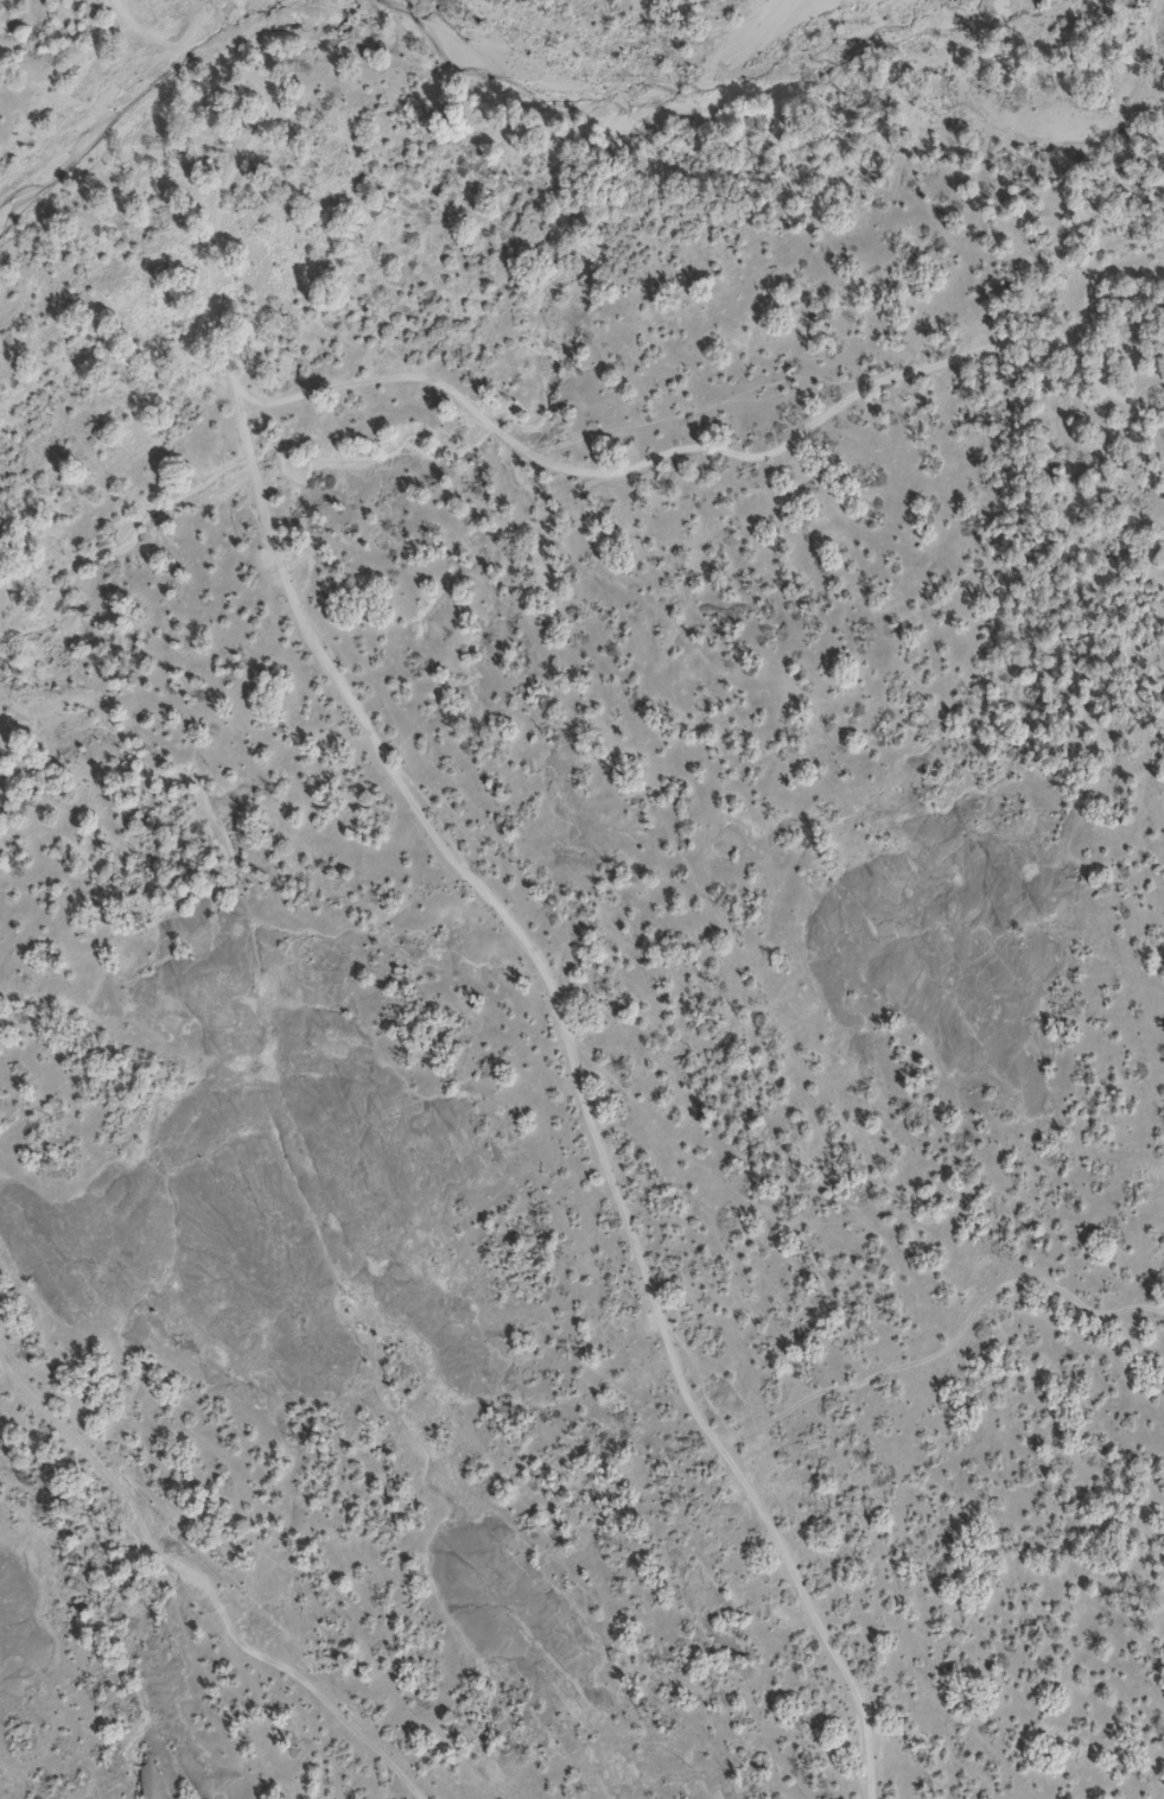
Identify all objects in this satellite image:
road: (460, 875)

